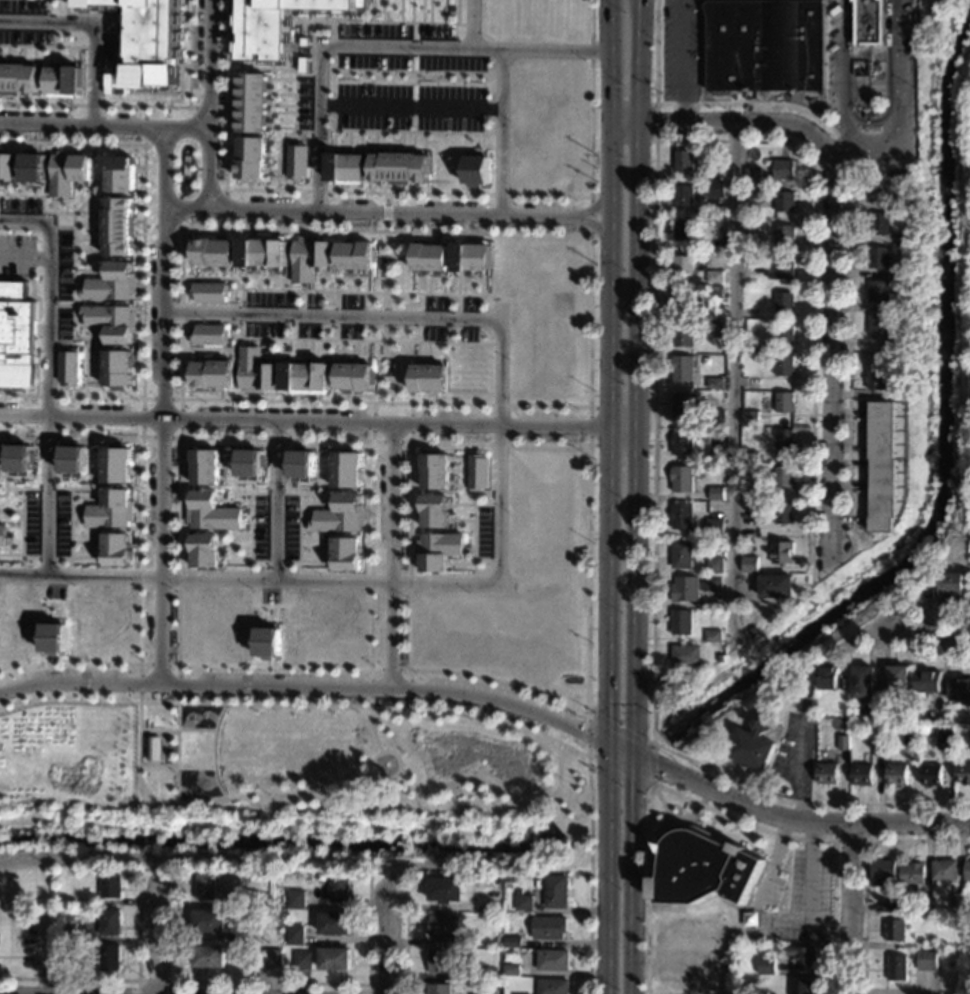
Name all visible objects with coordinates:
road: (372, 11)
building: (870, 19)
parking lot: (25, 22)
building: (275, 24)
road: (471, 24)
road: (93, 28)
road: (117, 34)
road: (310, 35)
building: (149, 40)
building: (763, 44)
road: (47, 45)
road: (208, 45)
road: (385, 47)
road: (680, 60)
road: (262, 69)
building: (18, 78)
parking lot: (408, 78)
building: (109, 80)
building: (64, 81)
building: (250, 101)
road: (641, 103)
road: (147, 106)
road: (410, 106)
road: (206, 107)
road: (201, 111)
road: (210, 116)
road: (709, 119)
road: (155, 124)
road: (66, 125)
road: (143, 125)
road: (181, 128)
road: (397, 131)
road: (502, 132)
road: (150, 135)
road: (870, 151)
building: (717, 155)
building: (250, 158)
building: (684, 160)
building: (297, 162)
building: (7, 165)
building: (346, 166)
building: (399, 166)
building: (32, 167)
building: (475, 169)
building: (784, 169)
building: (68, 171)
building: (753, 172)
building: (120, 173)
road: (851, 178)
building: (716, 188)
building: (879, 190)
road: (410, 192)
building: (750, 192)
building: (684, 195)
road: (42, 198)
building: (785, 201)
road: (222, 203)
road: (596, 206)
building: (907, 206)
road: (223, 208)
building: (721, 209)
road: (215, 211)
road: (385, 211)
road: (411, 212)
road: (162, 216)
road: (593, 216)
road: (169, 222)
road: (595, 222)
building: (718, 224)
building: (750, 224)
building: (880, 224)
building: (118, 225)
road: (161, 225)
building: (683, 230)
road: (589, 235)
building: (785, 235)
building: (903, 239)
building: (212, 252)
building: (264, 253)
building: (355, 254)
road: (25, 256)
building: (429, 256)
building: (309, 257)
building: (472, 257)
building: (879, 257)
building: (752, 260)
building: (683, 265)
building: (781, 268)
road: (396, 269)
road: (141, 270)
road: (72, 272)
building: (910, 274)
building: (714, 276)
parking lot: (16, 282)
building: (111, 282)
road: (329, 290)
building: (878, 290)
building: (714, 291)
building: (209, 292)
building: (683, 300)
building: (785, 302)
building: (901, 306)
road: (240, 313)
road: (654, 314)
road: (330, 316)
parking lot: (361, 316)
road: (384, 316)
building: (111, 321)
building: (878, 324)
building: (715, 327)
building: (208, 333)
building: (16, 335)
building: (682, 335)
building: (784, 335)
road: (337, 340)
building: (902, 340)
building: (751, 346)
road: (831, 347)
road: (394, 364)
building: (784, 365)
building: (69, 366)
building: (682, 367)
building: (117, 368)
building: (257, 370)
building: (212, 374)
road: (48, 376)
building: (306, 376)
building: (354, 376)
building: (429, 378)
building: (877, 378)
building: (715, 383)
road: (735, 383)
building: (758, 387)
building: (900, 392)
building: (784, 402)
building: (684, 403)
building: (715, 417)
building: (751, 419)
road: (316, 422)
road: (589, 426)
building: (755, 429)
river: (938, 433)
road: (179, 436)
building: (784, 439)
road: (390, 440)
building: (682, 441)
road: (500, 444)
building: (716, 455)
building: (750, 457)
building: (72, 458)
building: (19, 459)
road: (160, 460)
building: (250, 462)
building: (301, 463)
building: (116, 464)
building: (204, 465)
building: (881, 465)
building: (347, 469)
road: (587, 469)
building: (436, 470)
building: (479, 470)
building: (783, 476)
building: (682, 478)
road: (46, 488)
building: (716, 493)
road: (274, 494)
building: (752, 494)
road: (607, 497)
road: (632, 497)
road: (276, 501)
building: (110, 510)
building: (435, 510)
building: (211, 512)
road: (474, 512)
building: (783, 513)
building: (340, 515)
building: (681, 516)
parking lot: (46, 523)
parking lot: (275, 527)
building: (715, 527)
building: (749, 529)
road: (21, 530)
road: (70, 532)
building: (2, 535)
road: (250, 537)
road: (300, 538)
building: (722, 542)
building: (116, 548)
road: (140, 549)
building: (439, 549)
building: (204, 550)
building: (347, 553)
building: (782, 553)
building: (682, 554)
road: (390, 555)
road: (45, 558)
road: (487, 560)
road: (275, 562)
building: (749, 564)
building: (714, 565)
road: (256, 581)
building: (713, 583)
building: (701, 585)
building: (776, 586)
building: (951, 587)
building: (685, 589)
building: (927, 589)
building: (681, 621)
road: (920, 630)
building: (754, 631)
building: (712, 636)
building: (53, 638)
building: (267, 642)
road: (909, 645)
building: (685, 654)
building: (720, 658)
road: (159, 664)
road: (371, 667)
road: (389, 668)
building: (829, 678)
building: (862, 681)
building: (898, 681)
building: (927, 681)
road: (405, 688)
building: (960, 689)
road: (415, 708)
traffic signals: (604, 714)
building: (887, 718)
building: (950, 719)
road: (177, 729)
building: (924, 729)
road: (372, 730)
traffic signals: (581, 733)
building: (945, 733)
building: (911, 737)
building: (843, 742)
building: (878, 746)
building: (155, 748)
building: (750, 748)
road: (177, 752)
park: (284, 757)
road: (375, 759)
road: (803, 763)
road: (175, 768)
traffic signals: (657, 768)
building: (827, 773)
building: (861, 773)
building: (963, 773)
building: (896, 774)
building: (931, 774)
traffic signals: (633, 780)
river: (610, 783)
road: (650, 783)
road: (365, 786)
road: (394, 793)
road: (188, 801)
road: (416, 810)
road: (713, 810)
road: (878, 826)
road: (864, 837)
river: (280, 843)
road: (863, 863)
building: (703, 867)
building: (944, 869)
building: (967, 870)
building: (882, 872)
building: (912, 873)
building: (110, 885)
building: (206, 886)
building: (339, 888)
building: (445, 889)
building: (555, 891)
building: (249, 897)
building: (296, 899)
building: (523, 901)
building: (957, 901)
building: (889, 907)
building: (923, 908)
road: (849, 910)
building: (907, 913)
building: (209, 921)
building: (110, 922)
building: (335, 923)
building: (444, 926)
road: (778, 926)
building: (549, 927)
building: (895, 929)
building: (67, 931)
building: (295, 935)
building: (512, 942)
road: (159, 943)
road: (388, 943)
building: (498, 943)
building: (929, 943)
building: (60, 950)
building: (802, 956)
building: (109, 957)
building: (209, 957)
road: (406, 957)
building: (272, 958)
building: (335, 958)
building: (927, 959)
building: (303, 960)
building: (444, 960)
building: (552, 960)
building: (62, 962)
building: (766, 966)
building: (896, 967)
building: (511, 970)
building: (475, 974)
road: (121, 979)
road: (156, 980)
road: (270, 982)
road: (382, 984)
building: (800, 985)
building: (552, 986)
building: (438, 989)
building: (488, 989)

